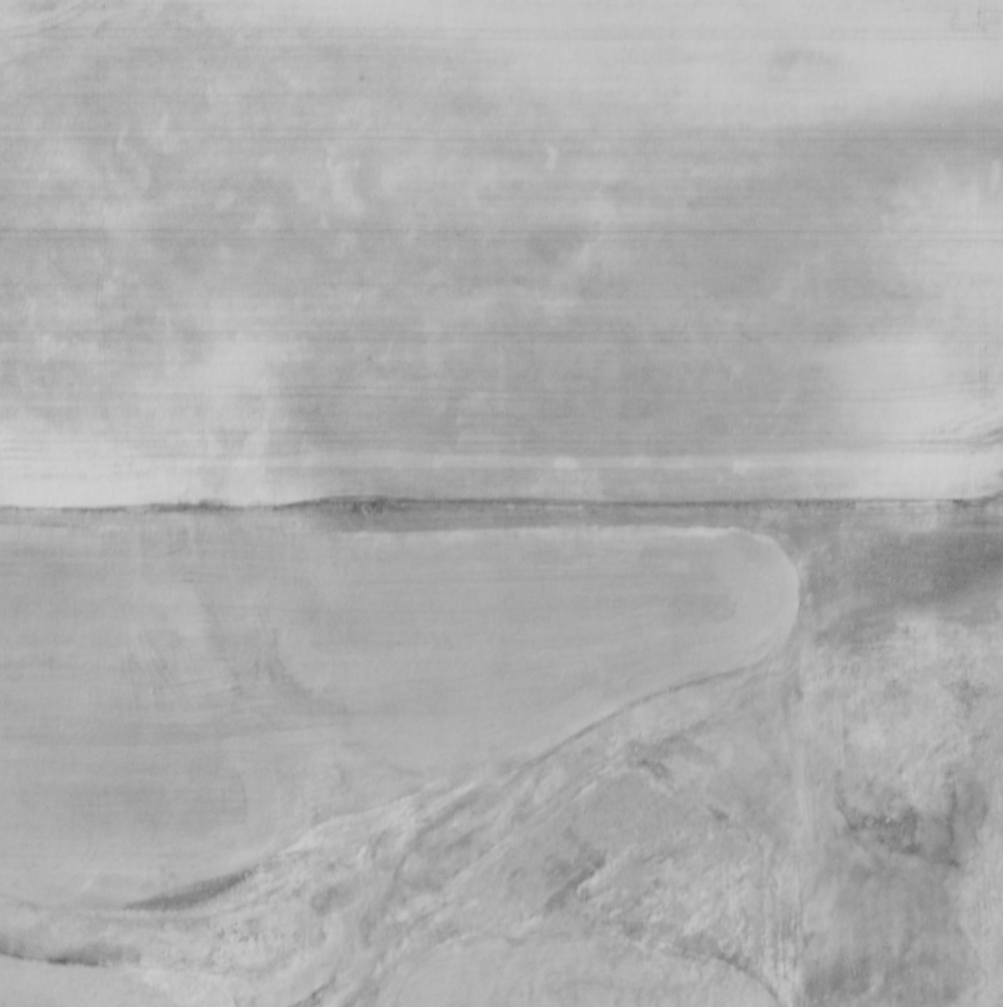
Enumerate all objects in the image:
road: (501, 518)

